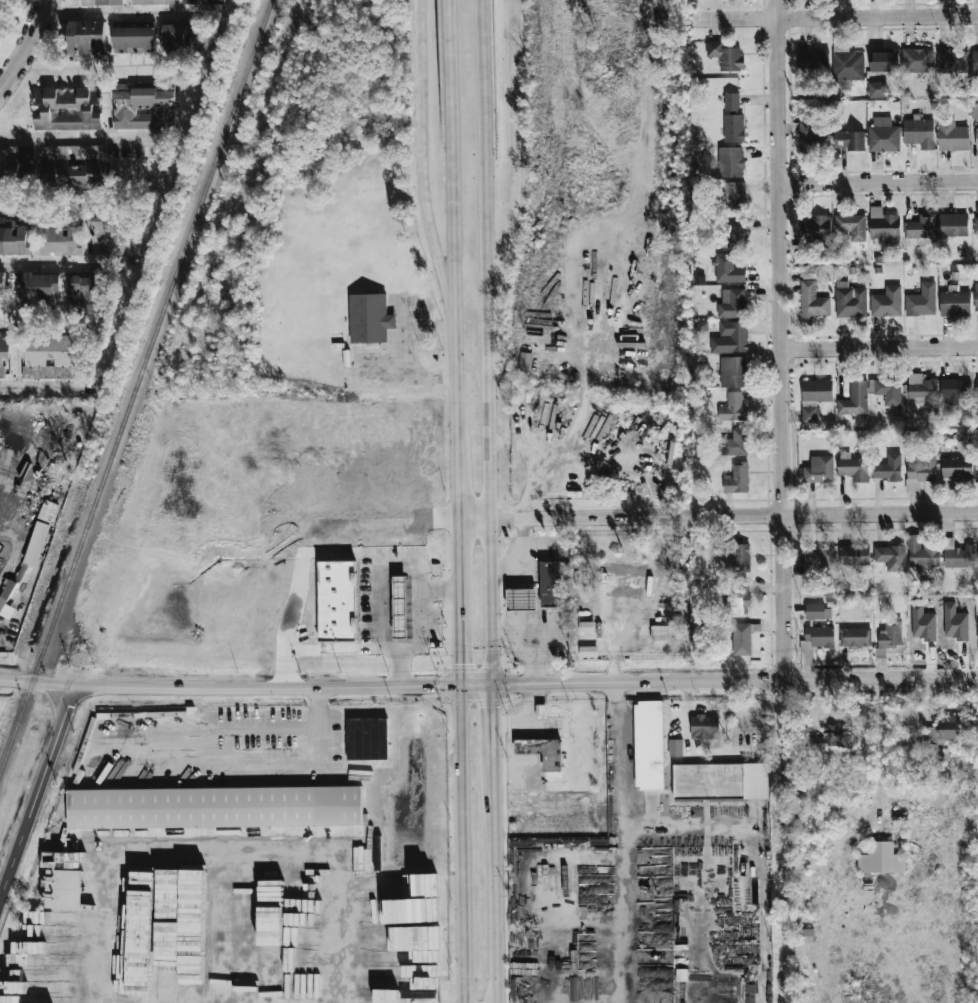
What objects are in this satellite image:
building: (203, 1)
building: (102, 2)
building: (153, 2)
road: (136, 13)
road: (836, 18)
building: (86, 37)
building: (134, 40)
road: (25, 45)
building: (725, 55)
building: (917, 59)
building: (813, 60)
building: (846, 61)
building: (884, 61)
building: (951, 61)
building: (975, 62)
building: (878, 89)
building: (732, 100)
building: (143, 107)
building: (67, 108)
building: (975, 111)
building: (734, 128)
building: (919, 133)
building: (883, 135)
building: (952, 136)
road: (85, 138)
building: (811, 138)
building: (976, 138)
building: (849, 140)
road: (421, 154)
road: (517, 162)
building: (731, 162)
building: (14, 163)
building: (80, 165)
road: (878, 182)
building: (733, 196)
road: (453, 222)
building: (953, 224)
building: (975, 224)
building: (883, 225)
building: (816, 226)
building: (852, 226)
building: (920, 227)
building: (737, 230)
building: (110, 235)
building: (15, 238)
building: (63, 241)
road: (67, 263)
building: (727, 269)
building: (2, 287)
building: (37, 287)
building: (81, 290)
building: (976, 296)
building: (850, 300)
building: (813, 301)
building: (921, 301)
building: (886, 302)
building: (955, 302)
building: (733, 304)
building: (373, 321)
building: (731, 338)
road: (779, 340)
road: (489, 342)
road: (879, 348)
building: (4, 352)
building: (51, 356)
building: (525, 361)
building: (732, 371)
road: (47, 384)
building: (977, 388)
railway: (136, 389)
building: (887, 390)
building: (955, 390)
building: (816, 391)
building: (922, 391)
building: (855, 399)
building: (733, 408)
building: (809, 415)
building: (736, 443)
building: (853, 467)
building: (888, 468)
building: (919, 468)
building: (956, 468)
building: (819, 470)
building: (737, 479)
road: (456, 482)
building: (47, 512)
road: (717, 515)
building: (39, 537)
building: (922, 553)
building: (854, 555)
building: (957, 555)
building: (741, 557)
building: (891, 557)
road: (527, 560)
building: (819, 560)
road: (458, 564)
building: (623, 568)
building: (551, 583)
building: (739, 597)
building: (337, 599)
building: (521, 599)
road: (521, 600)
building: (402, 604)
building: (6, 605)
building: (815, 611)
building: (666, 620)
building: (890, 632)
building: (977, 632)
building: (854, 637)
building: (741, 638)
building: (817, 638)
road: (530, 639)
road: (379, 640)
road: (461, 648)
traffic signals: (462, 663)
road: (401, 666)
road: (734, 682)
traffic signals: (511, 685)
road: (38, 686)
road: (284, 687)
traffic signals: (438, 687)
traffic signals: (492, 707)
building: (949, 726)
building: (704, 727)
road: (492, 731)
building: (932, 736)
building: (829, 740)
building: (365, 742)
building: (649, 745)
building: (675, 748)
building: (543, 752)
road: (192, 767)
building: (720, 781)
road: (37, 793)
building: (215, 808)
road: (627, 808)
road: (612, 831)
road: (462, 845)
road: (223, 851)
building: (881, 859)
road: (706, 865)
building: (63, 889)
road: (496, 889)
building: (399, 898)
building: (178, 910)
building: (229, 931)
building: (806, 936)
building: (415, 938)
building: (140, 950)
road: (623, 963)
road: (570, 976)
building: (425, 994)

